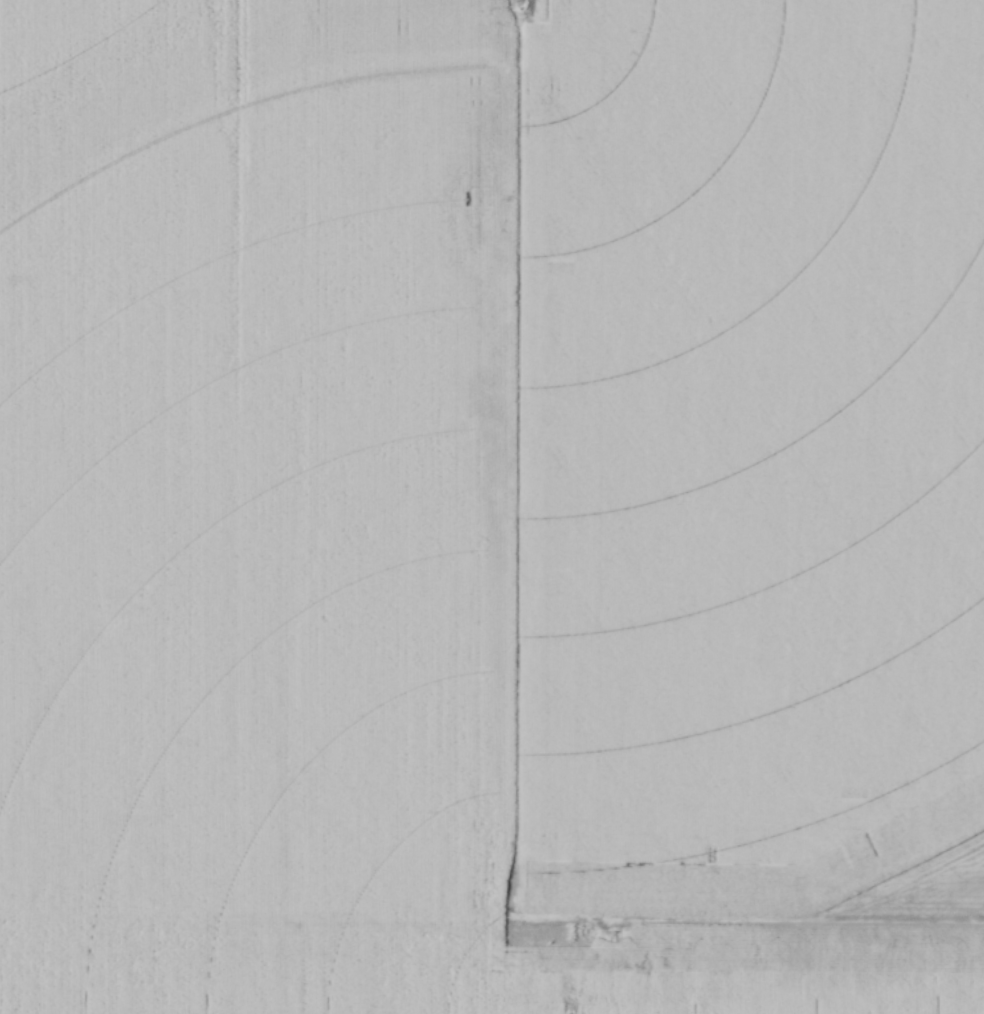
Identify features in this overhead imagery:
building: (691, 626)

